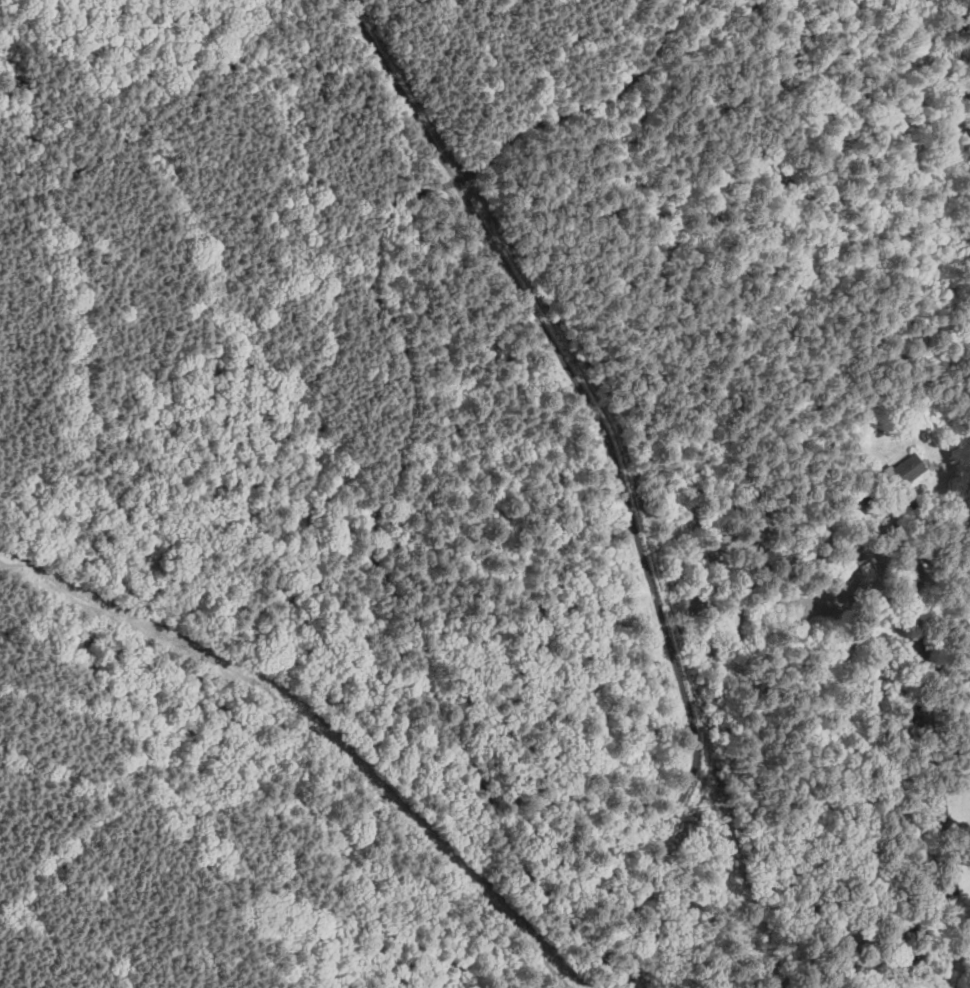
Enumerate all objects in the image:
road: (131, 3)
road: (922, 6)
road: (500, 7)
road: (921, 21)
road: (158, 116)
road: (961, 129)
road: (920, 160)
road: (273, 168)
road: (338, 268)
road: (794, 295)
road: (239, 393)
road: (4, 402)
road: (403, 440)
road: (72, 451)
road: (619, 469)
building: (904, 471)
road: (260, 501)
road: (936, 519)
road: (174, 532)
building: (857, 541)
building: (912, 574)
street lamp: (969, 653)
building: (915, 656)
road: (192, 719)
building: (923, 720)
road: (134, 723)
building: (884, 726)
building: (907, 773)
building: (934, 807)
building: (946, 876)
road: (271, 880)
road: (926, 938)
road: (32, 953)
road: (949, 957)
road: (625, 982)

